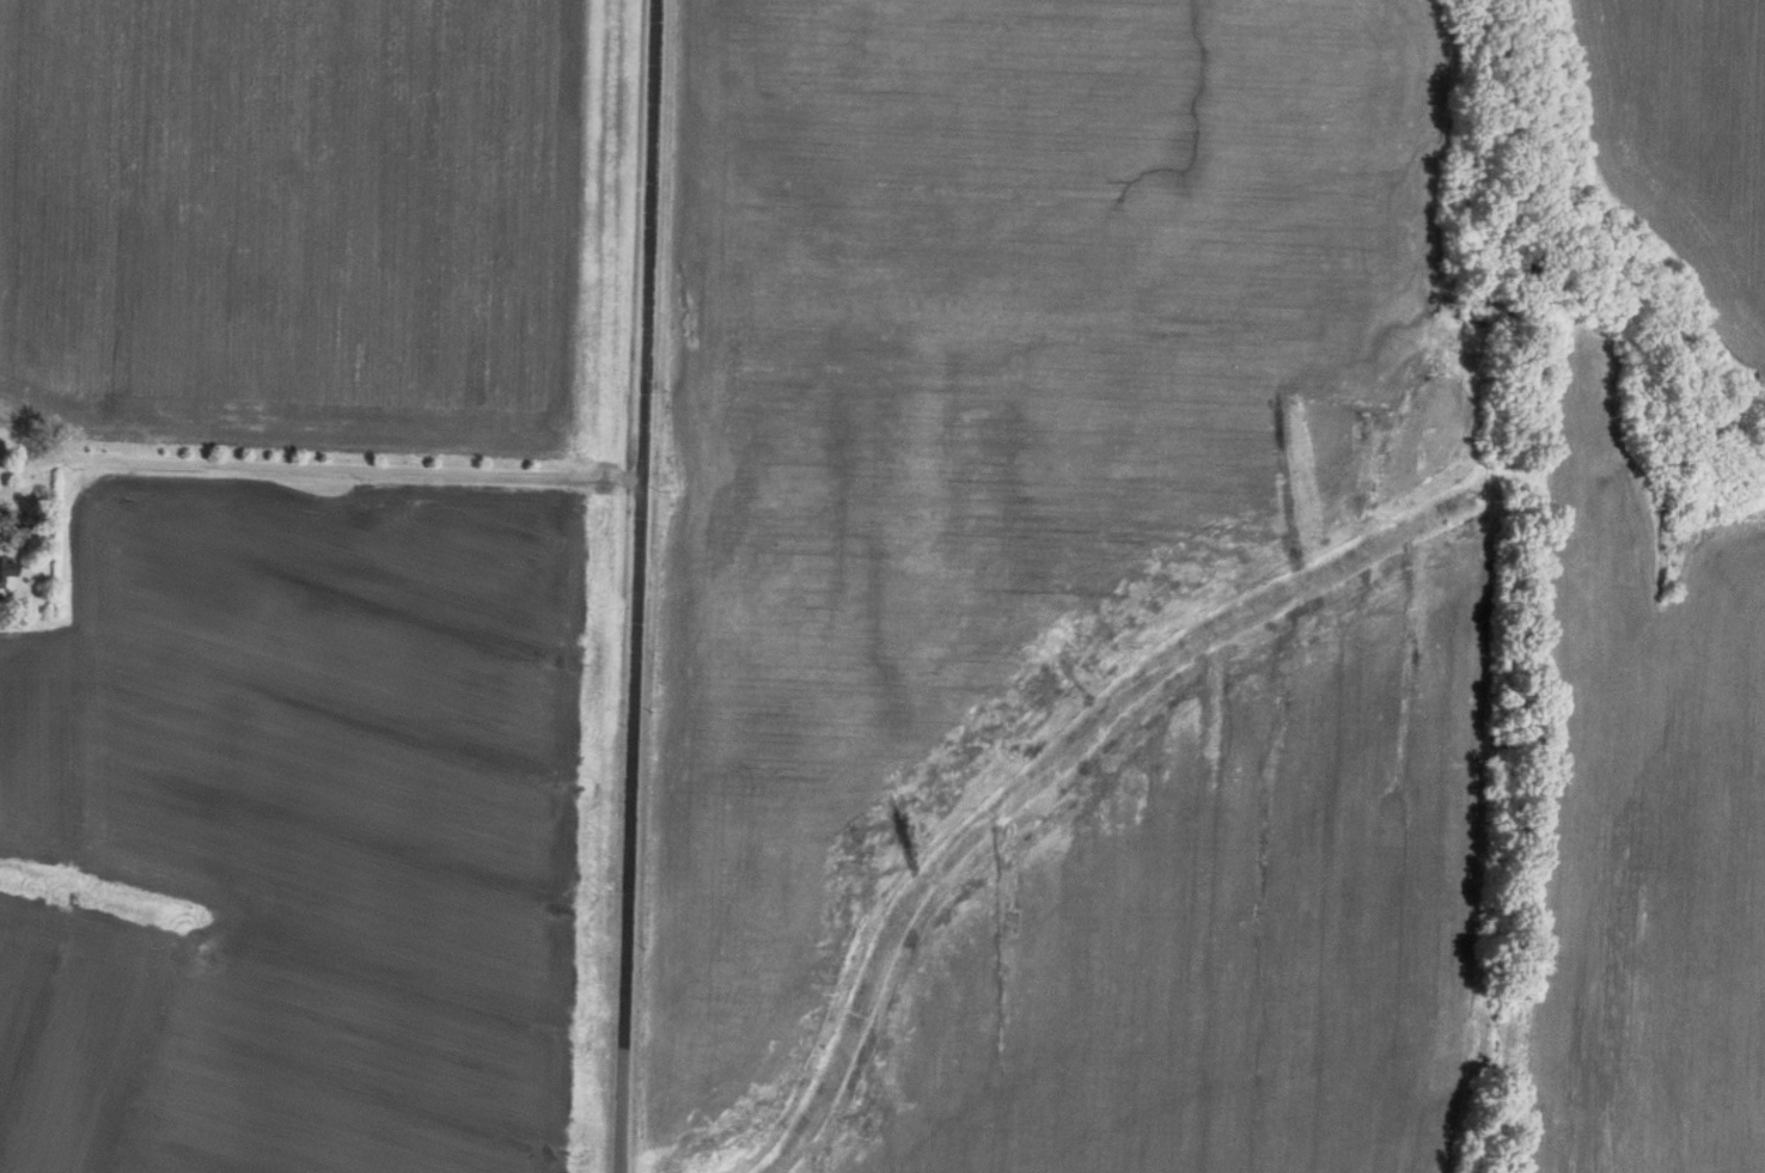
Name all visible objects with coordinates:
road: (319, 464)
building: (6, 567)
road: (639, 586)

